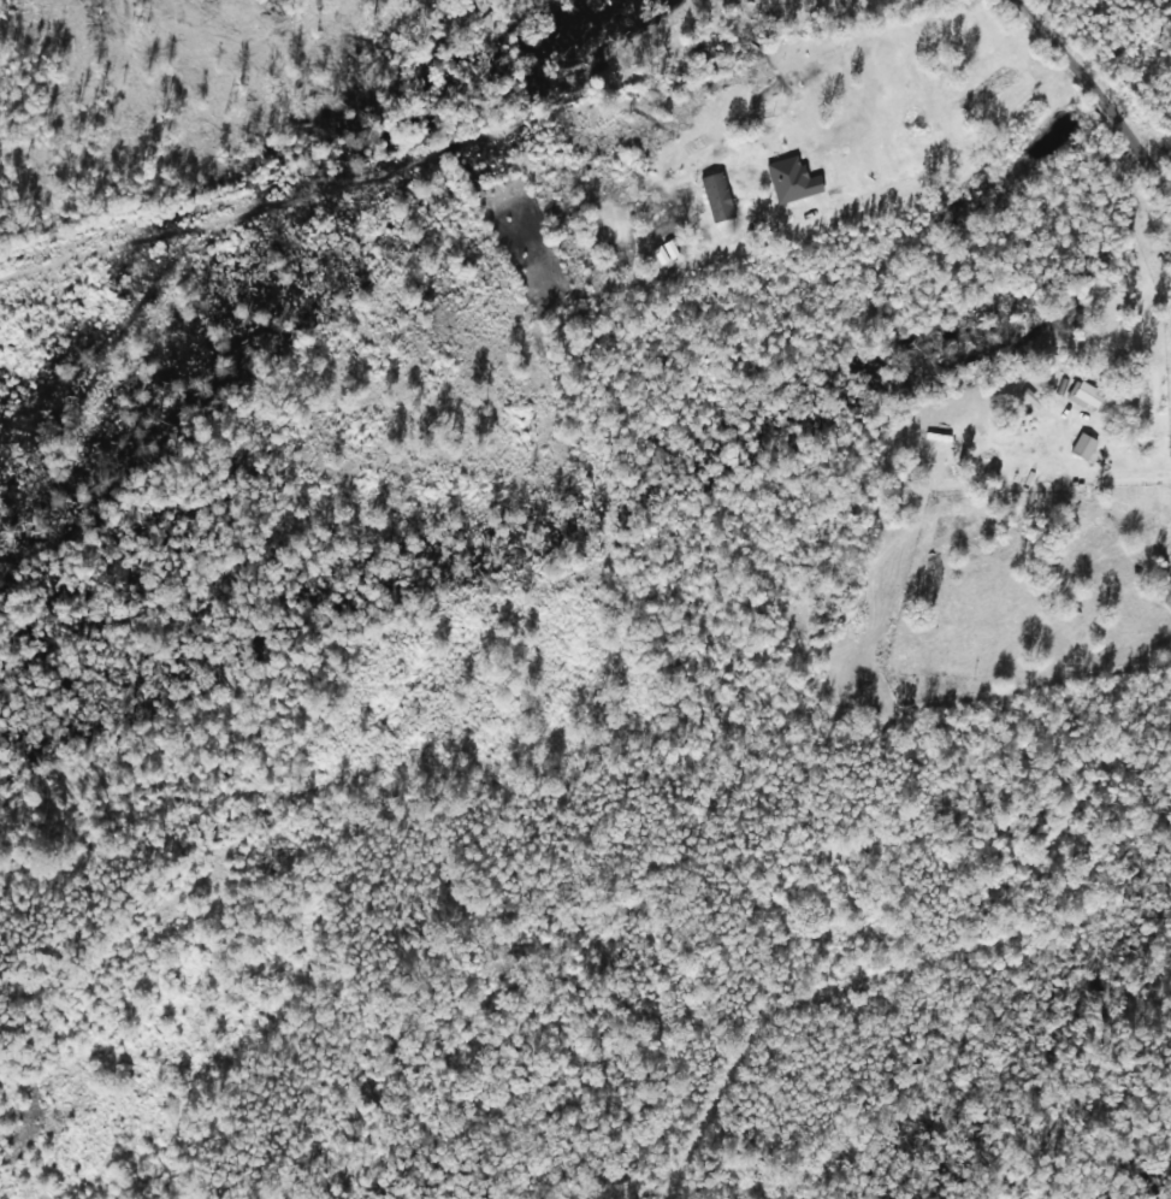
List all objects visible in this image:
road: (1061, 119)
building: (717, 197)
building: (666, 252)
building: (1086, 394)
building: (1084, 445)

